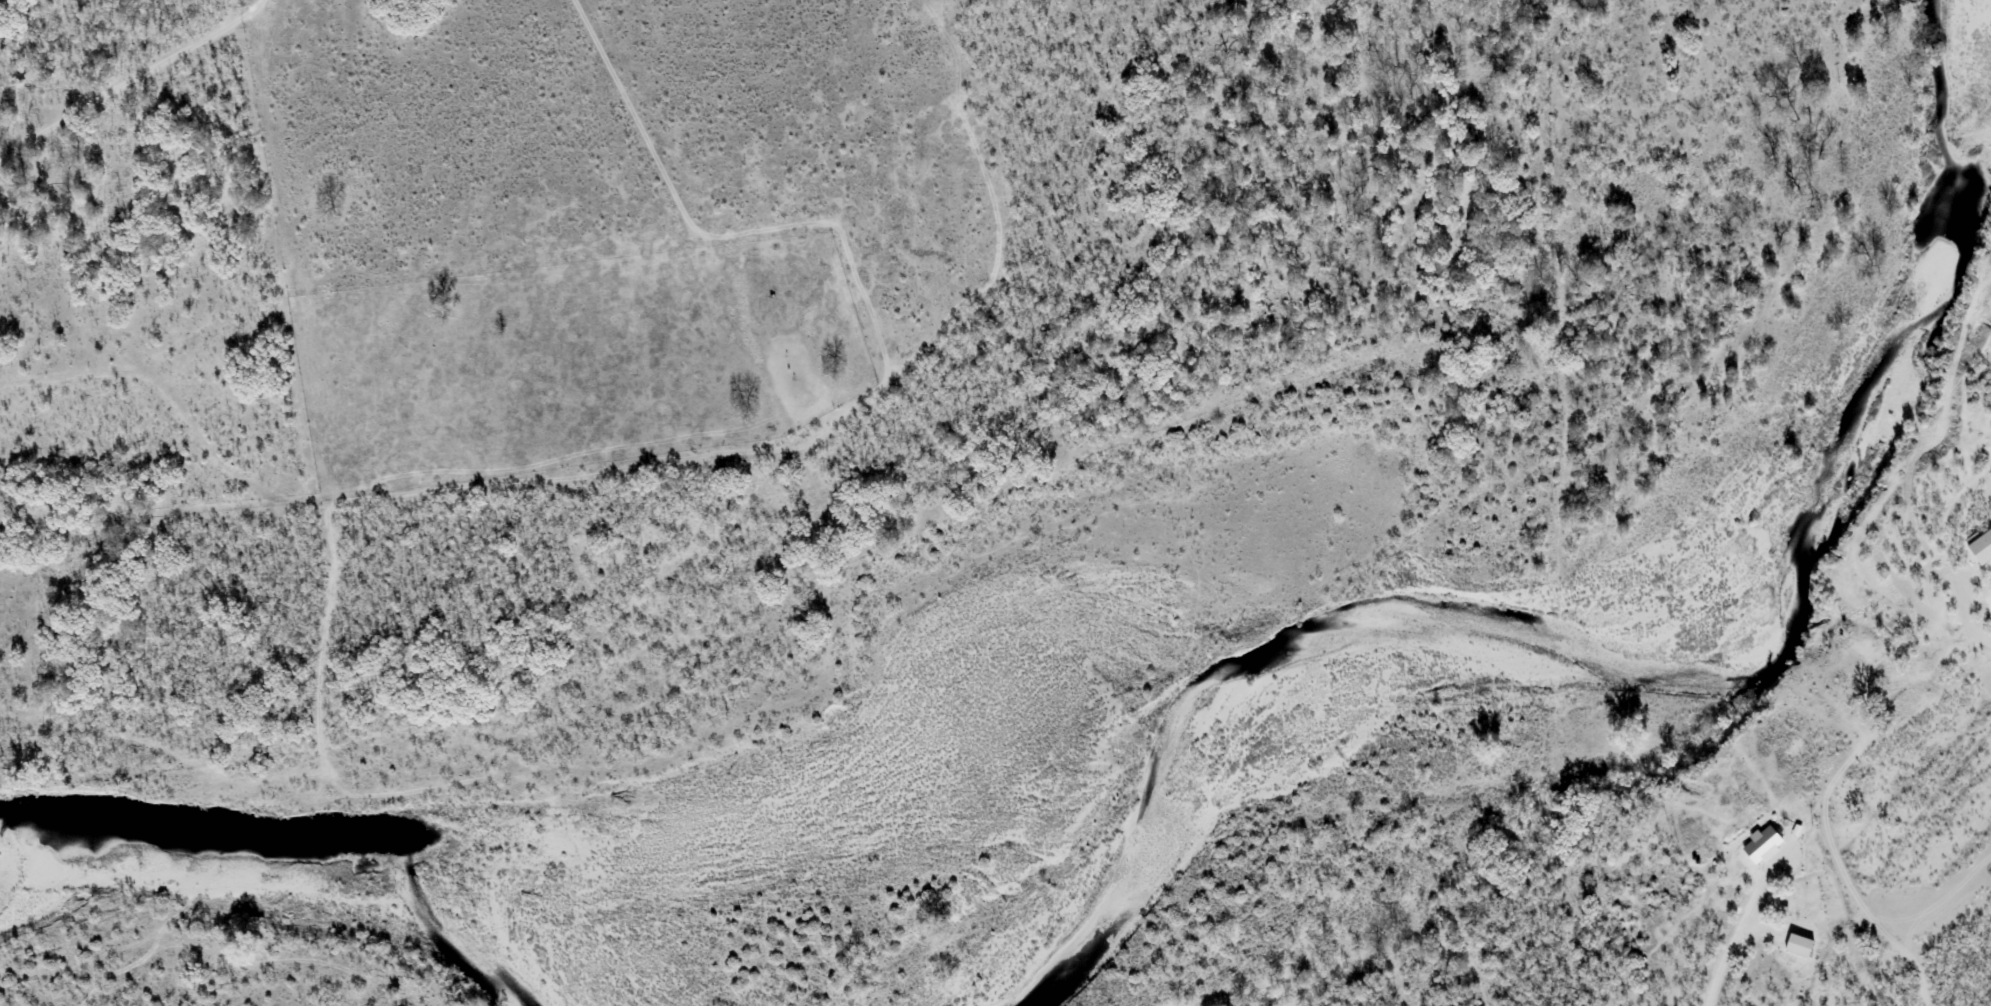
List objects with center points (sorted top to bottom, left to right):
building: (1983, 541)
river: (1664, 649)
road: (1801, 825)
river: (322, 856)
building: (1799, 946)

